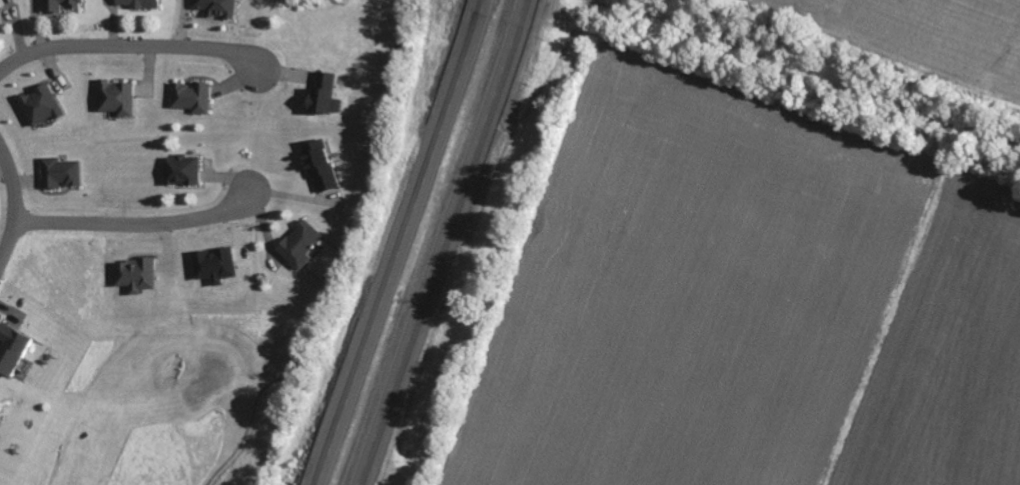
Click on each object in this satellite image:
building: (138, 3)
building: (60, 4)
building: (218, 7)
building: (0, 21)
road: (129, 44)
building: (324, 93)
building: (192, 95)
building: (116, 96)
building: (40, 103)
building: (320, 164)
building: (181, 169)
building: (59, 171)
road: (15, 204)
road: (136, 224)
road: (398, 242)
road: (447, 242)
building: (300, 243)
building: (215, 263)
building: (136, 272)
building: (12, 347)

